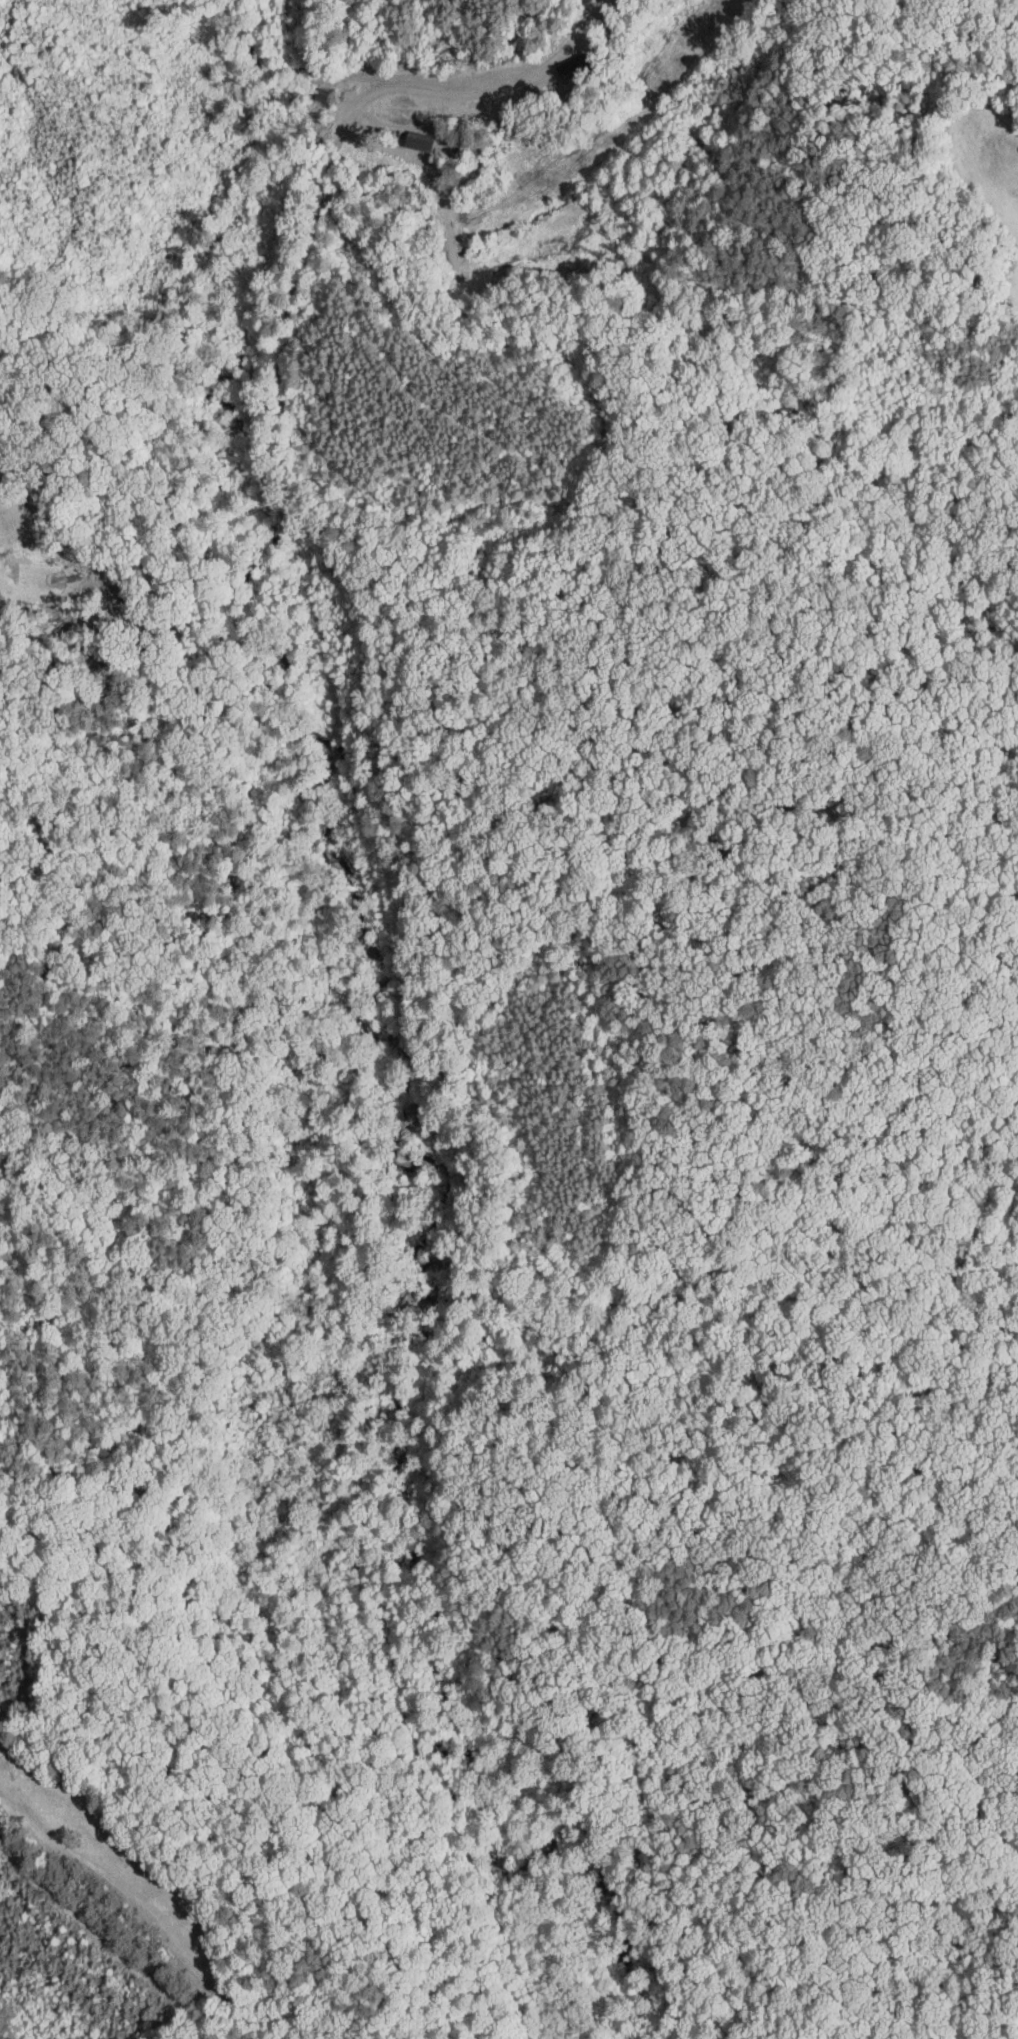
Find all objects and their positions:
road: (464, 97)
building: (406, 134)

